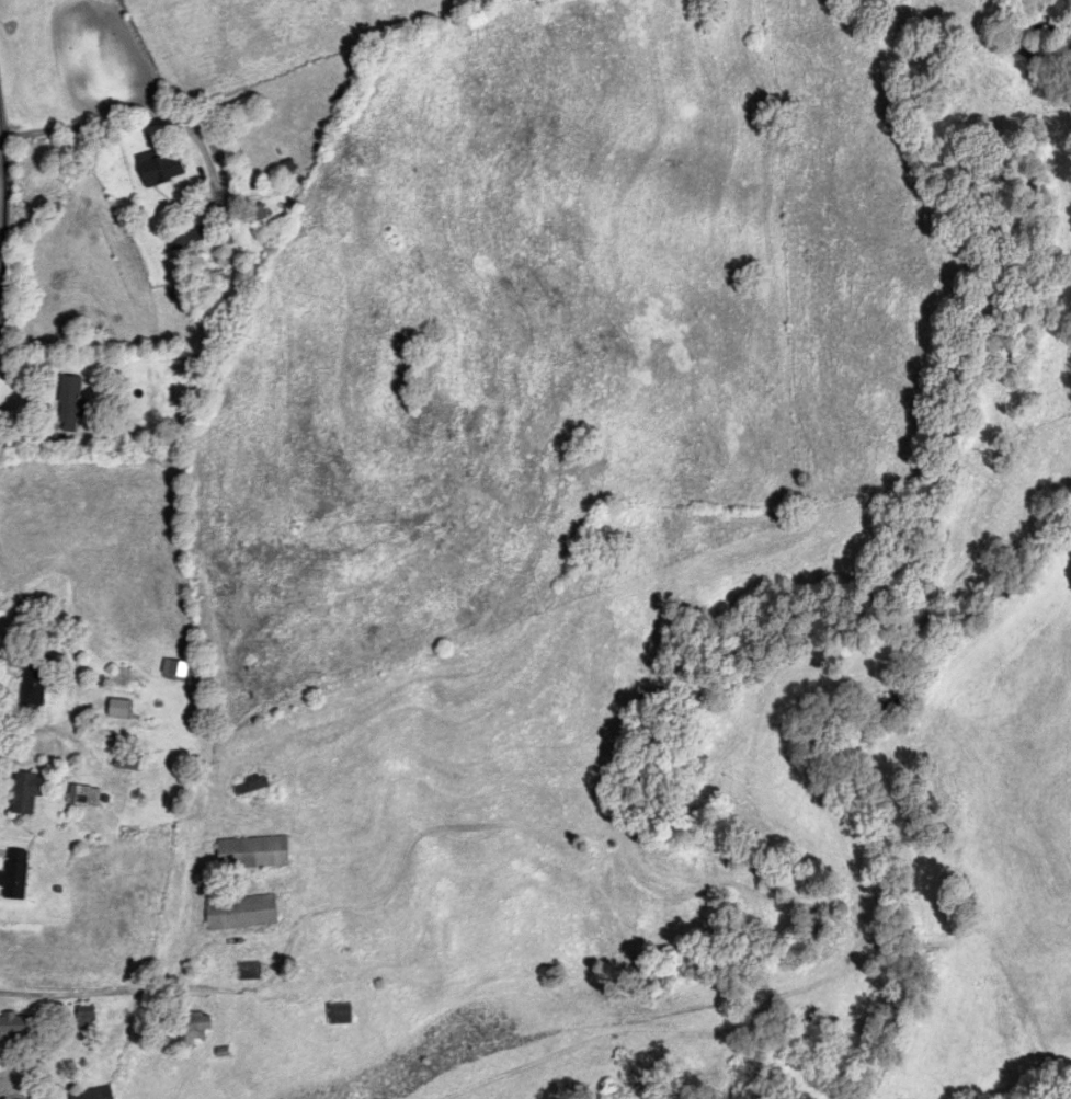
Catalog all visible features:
road: (125, 123)
building: (157, 168)
road: (1, 199)
building: (254, 213)
building: (185, 239)
building: (31, 683)
building: (116, 709)
road: (55, 731)
building: (125, 762)
building: (248, 786)
building: (24, 792)
building: (81, 797)
building: (250, 852)
building: (13, 874)
building: (238, 913)
building: (247, 971)
building: (337, 1015)
building: (84, 1016)
building: (13, 1027)
building: (193, 1027)
building: (91, 1094)

